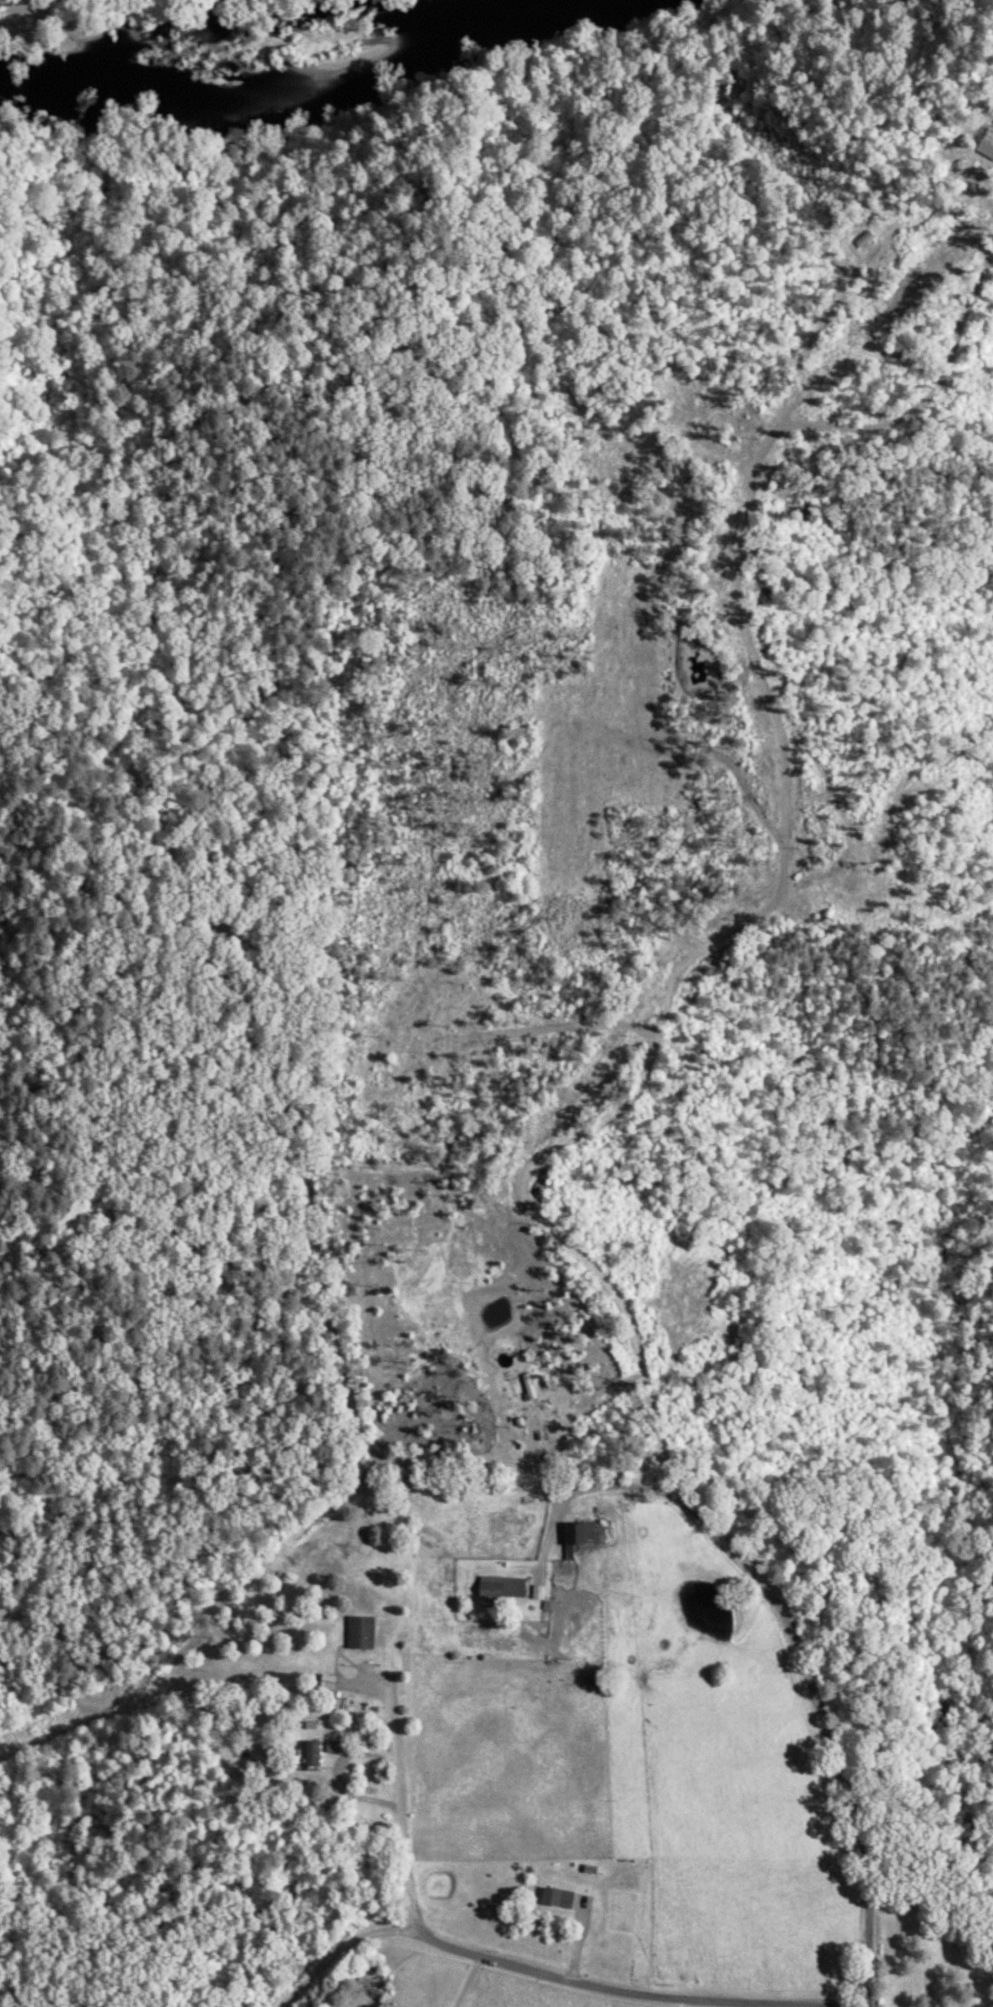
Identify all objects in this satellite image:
river: (302, 98)
building: (874, 237)
building: (591, 1533)
building: (507, 1586)
road: (786, 1630)
building: (364, 1632)
building: (338, 1746)
building: (317, 1751)
road: (396, 1793)
building: (565, 1896)
road: (554, 1976)
road: (469, 1980)

